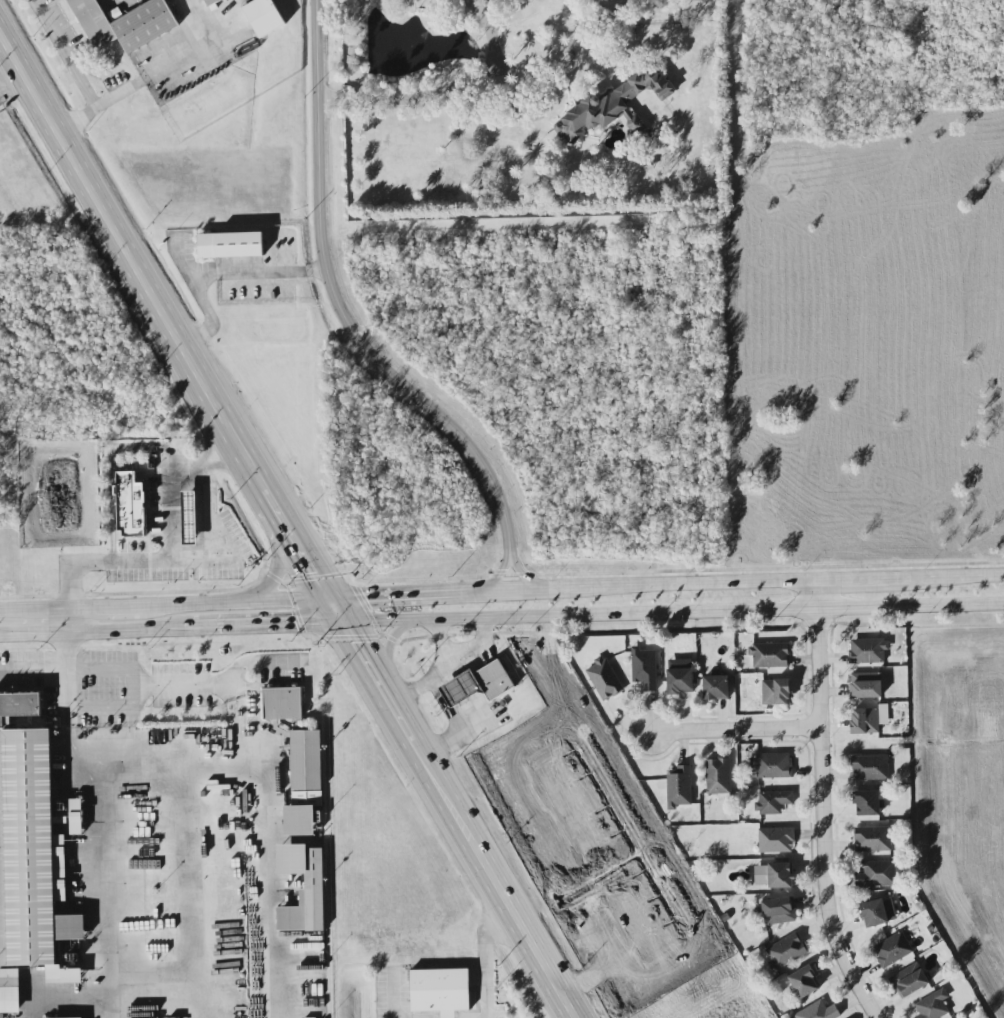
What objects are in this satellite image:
building: (210, 2)
building: (115, 14)
road: (516, 15)
building: (264, 17)
building: (124, 24)
road: (191, 50)
road: (70, 70)
road: (442, 84)
road: (553, 86)
road: (112, 97)
building: (611, 107)
building: (230, 245)
road: (142, 270)
road: (222, 273)
road: (344, 327)
building: (131, 505)
building: (190, 518)
road: (215, 531)
road: (307, 560)
road: (168, 561)
road: (278, 570)
road: (945, 578)
road: (853, 580)
road: (665, 586)
road: (200, 591)
road: (420, 594)
traffic signals: (329, 599)
road: (164, 606)
road: (336, 611)
road: (673, 611)
road: (171, 628)
road: (442, 646)
road: (385, 647)
building: (868, 650)
road: (360, 653)
building: (770, 655)
building: (644, 668)
road: (33, 670)
road: (446, 673)
building: (680, 676)
building: (604, 678)
road: (66, 679)
road: (142, 684)
building: (478, 684)
building: (866, 685)
building: (716, 687)
building: (776, 692)
road: (410, 697)
building: (283, 703)
building: (869, 719)
road: (735, 730)
road: (451, 733)
road: (214, 764)
building: (771, 765)
building: (870, 768)
building: (718, 776)
building: (305, 784)
building: (679, 787)
building: (773, 802)
building: (867, 802)
road: (823, 804)
building: (76, 816)
building: (873, 838)
building: (776, 840)
building: (31, 848)
road: (477, 850)
road: (254, 852)
building: (879, 874)
building: (774, 875)
building: (314, 881)
building: (779, 910)
building: (879, 912)
building: (892, 950)
building: (785, 951)
road: (484, 958)
road: (172, 973)
building: (910, 980)
building: (805, 981)
road: (107, 986)
building: (9, 991)
building: (440, 991)
building: (933, 1006)
road: (108, 1008)
building: (818, 1011)

